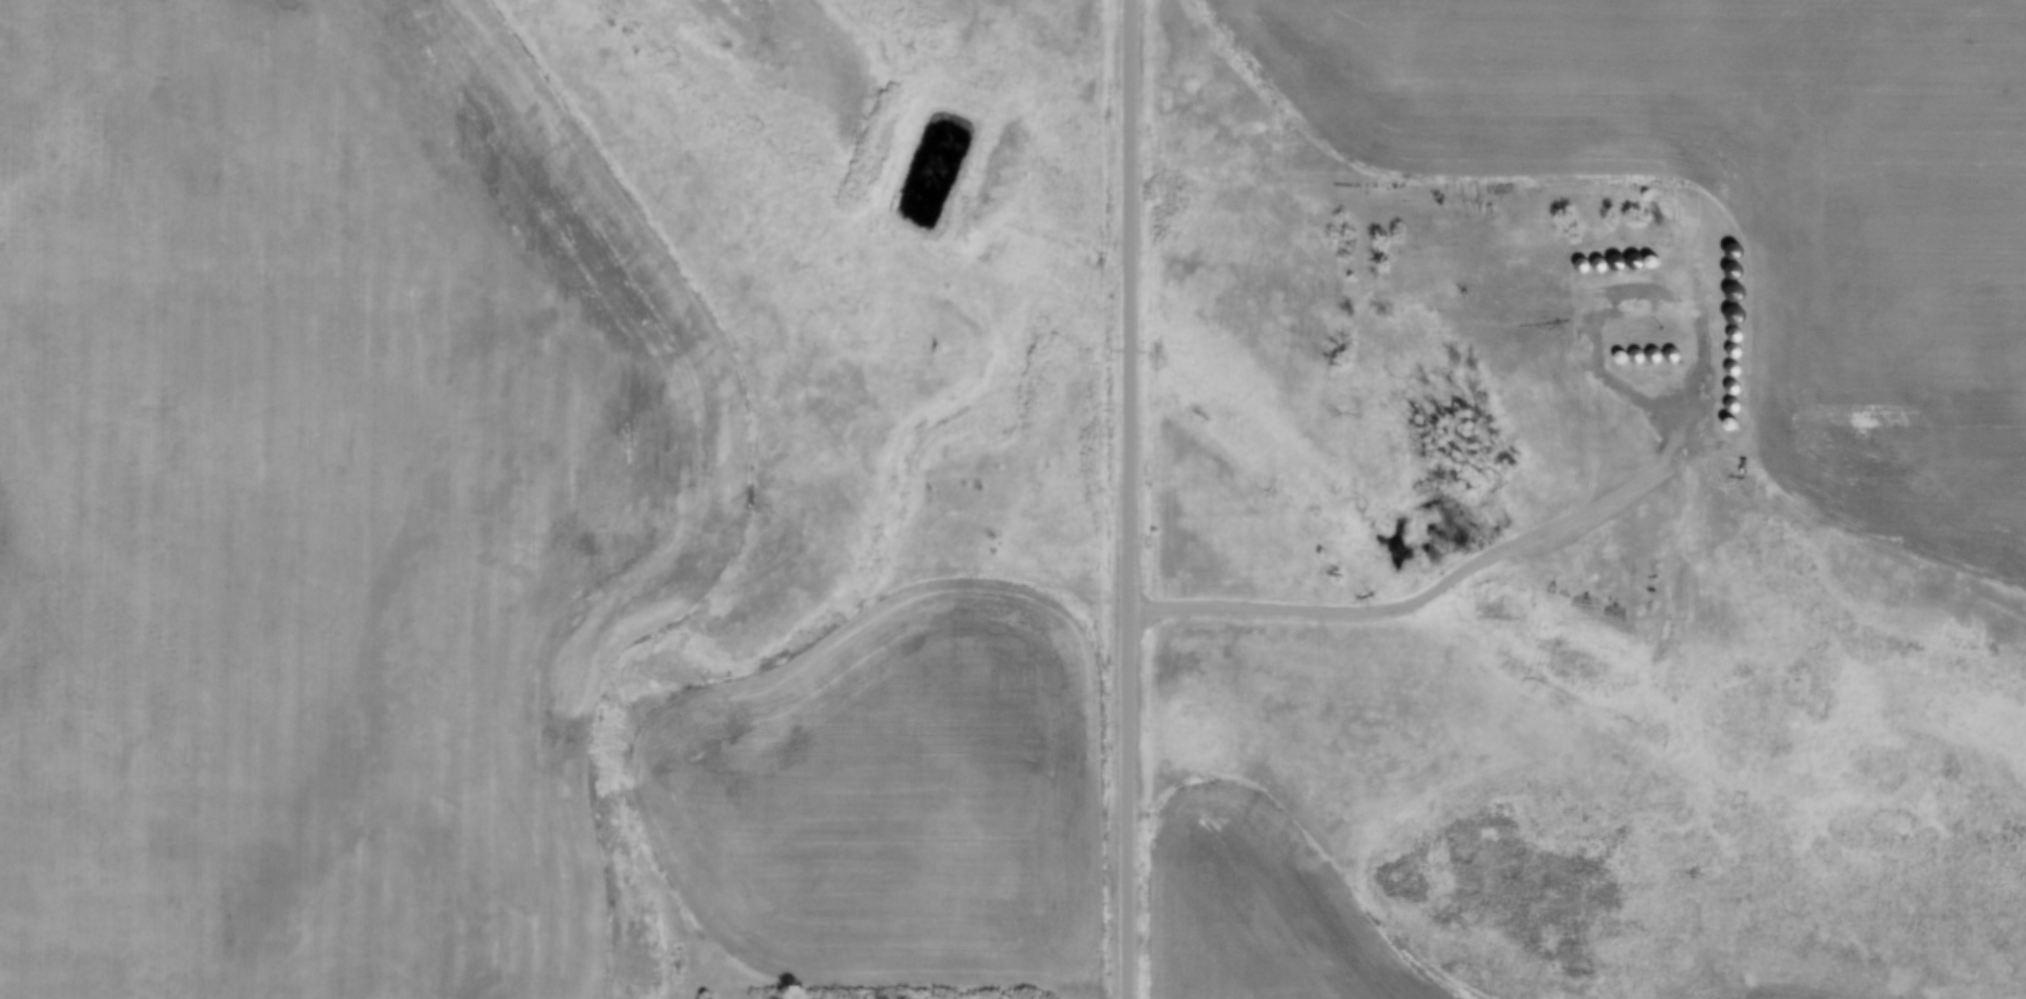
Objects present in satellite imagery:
road: (1130, 499)
road: (1519, 545)

